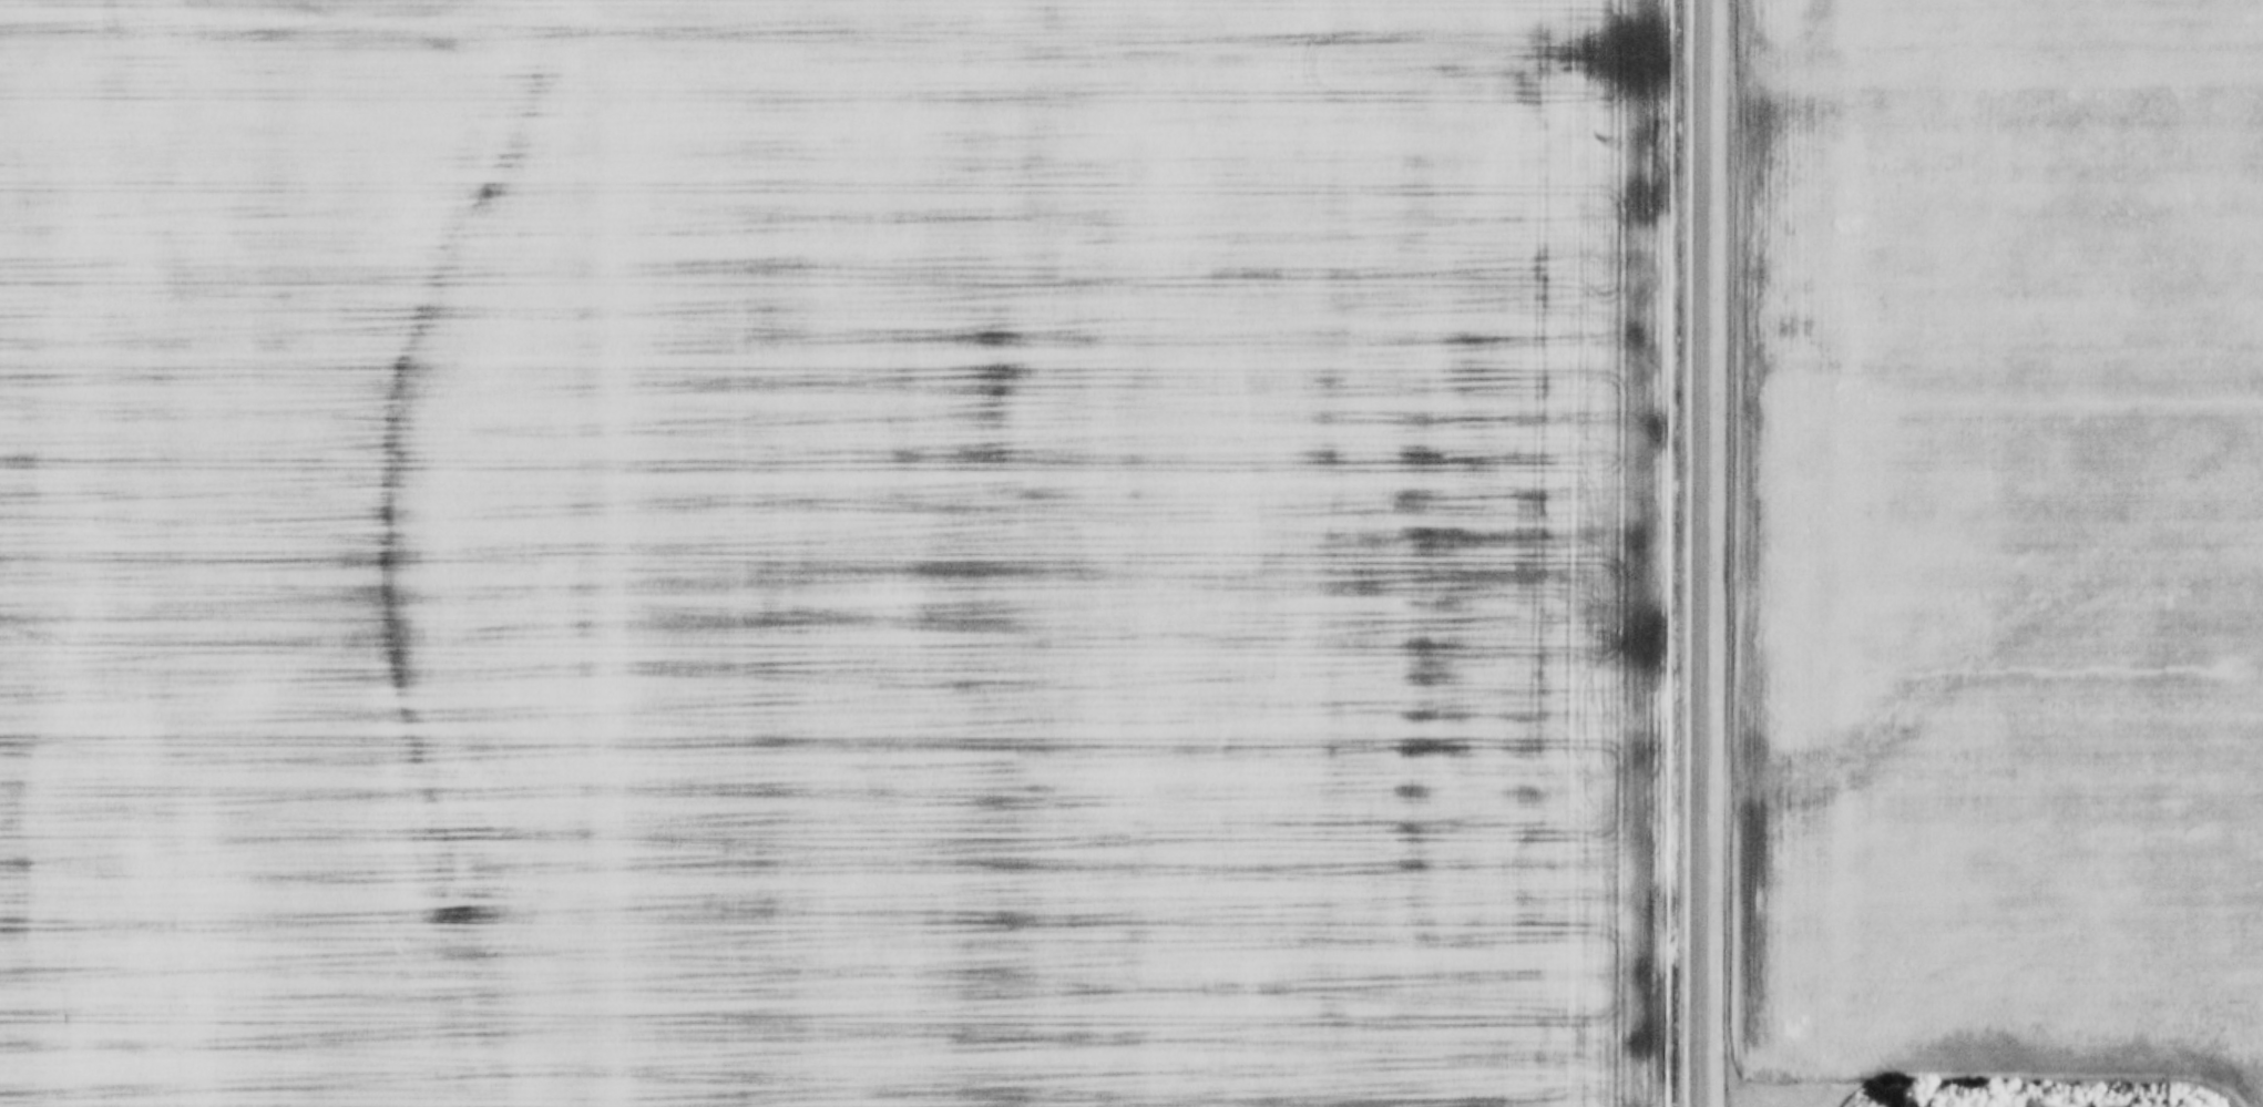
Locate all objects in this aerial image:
road: (1703, 553)

